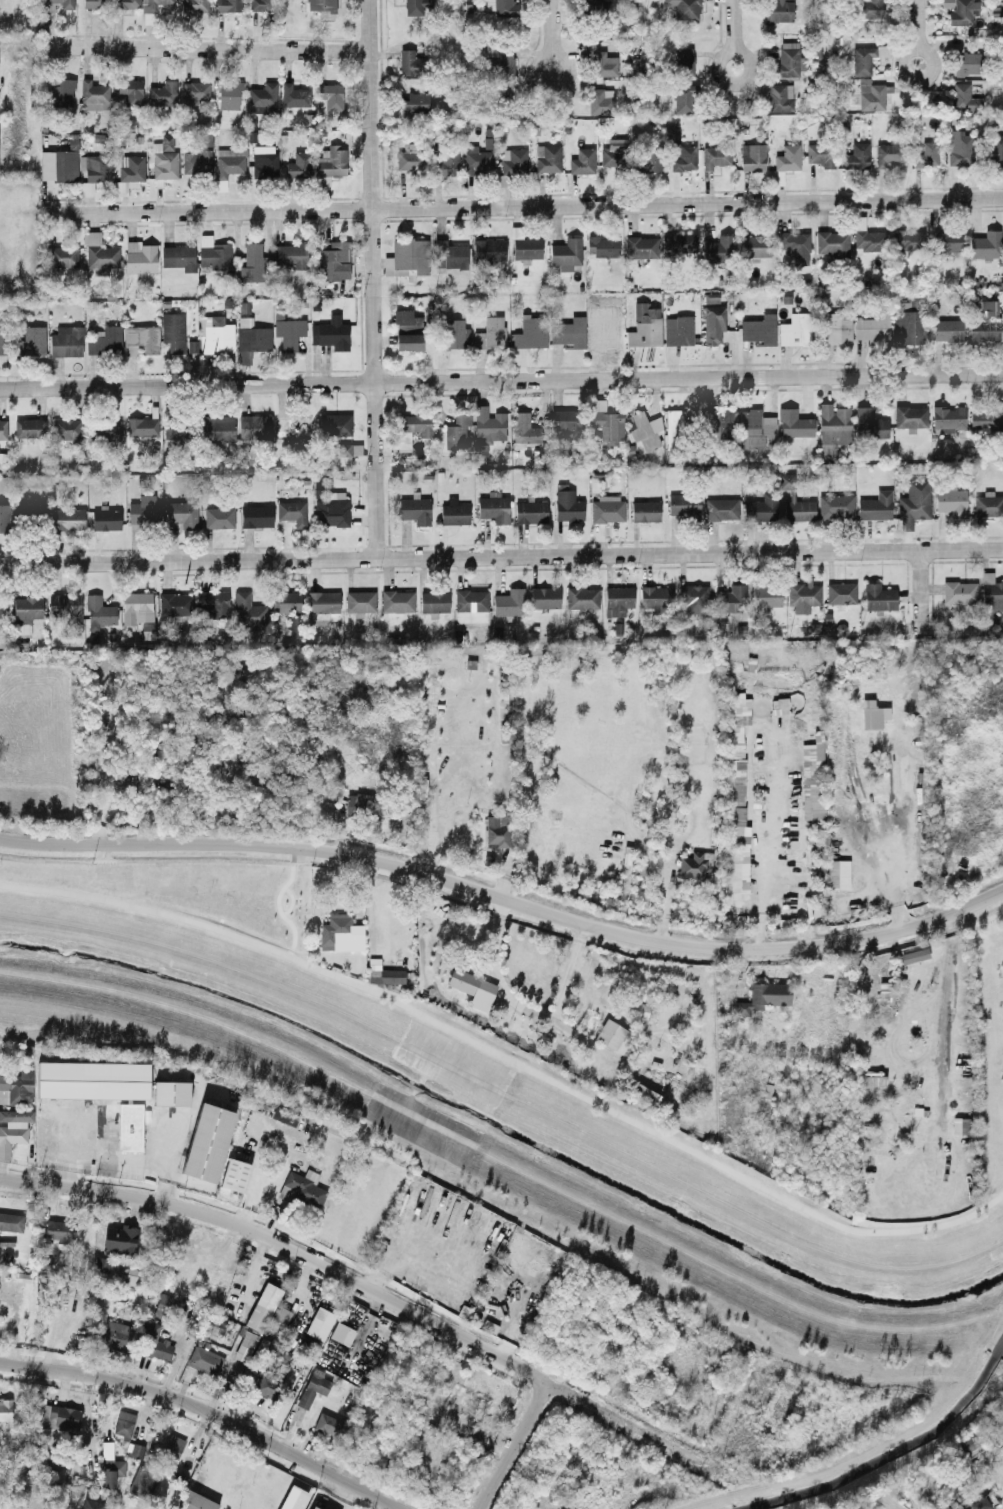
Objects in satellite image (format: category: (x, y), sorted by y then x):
building: (95, 3)
building: (130, 3)
building: (155, 3)
building: (56, 5)
building: (195, 5)
building: (229, 5)
building: (261, 5)
building: (322, 5)
building: (416, 6)
building: (591, 6)
building: (501, 7)
building: (685, 8)
building: (871, 8)
building: (779, 10)
building: (961, 11)
road: (914, 24)
road: (732, 26)
road: (547, 27)
road: (209, 47)
road: (722, 55)
road: (904, 55)
building: (866, 58)
building: (789, 59)
building: (684, 60)
building: (509, 61)
building: (409, 62)
building: (968, 63)
road: (535, 64)
building: (604, 64)
building: (62, 92)
building: (130, 92)
building: (196, 92)
building: (163, 93)
building: (94, 95)
building: (230, 95)
building: (331, 95)
building: (295, 96)
building: (684, 96)
building: (871, 96)
building: (780, 97)
building: (965, 97)
building: (263, 98)
building: (601, 101)
building: (415, 104)
building: (996, 149)
building: (960, 150)
building: (888, 153)
building: (821, 154)
building: (857, 155)
building: (926, 155)
building: (410, 156)
building: (611, 156)
building: (716, 156)
building: (752, 157)
building: (788, 157)
building: (685, 158)
building: (478, 159)
building: (549, 159)
building: (164, 160)
building: (197, 161)
building: (230, 161)
building: (264, 161)
building: (583, 161)
building: (650, 161)
building: (449, 162)
building: (512, 162)
building: (331, 163)
building: (59, 165)
building: (298, 165)
building: (96, 167)
building: (129, 174)
road: (525, 206)
building: (908, 239)
building: (870, 240)
building: (947, 240)
building: (679, 242)
building: (833, 243)
building: (758, 245)
building: (986, 245)
building: (602, 246)
building: (795, 246)
building: (641, 247)
building: (719, 249)
building: (99, 252)
building: (488, 252)
building: (566, 253)
building: (449, 254)
building: (290, 255)
building: (64, 256)
building: (140, 256)
building: (179, 256)
building: (215, 256)
building: (407, 258)
building: (335, 261)
building: (252, 262)
road: (372, 278)
building: (711, 297)
building: (407, 322)
building: (985, 322)
building: (713, 324)
building: (906, 325)
building: (645, 326)
building: (836, 327)
building: (873, 328)
building: (759, 329)
building: (795, 329)
building: (948, 329)
building: (678, 330)
building: (173, 332)
building: (289, 332)
building: (569, 332)
building: (217, 333)
building: (331, 333)
building: (490, 333)
building: (531, 333)
building: (454, 334)
building: (141, 338)
building: (251, 338)
building: (3, 340)
building: (105, 340)
building: (31, 341)
building: (66, 341)
building: (409, 341)
building: (192, 346)
road: (501, 380)
building: (910, 416)
building: (986, 416)
building: (949, 418)
building: (565, 420)
building: (605, 421)
building: (718, 421)
building: (336, 423)
building: (794, 423)
building: (833, 423)
building: (869, 423)
building: (142, 425)
building: (292, 425)
building: (489, 425)
building: (255, 426)
building: (30, 427)
building: (176, 427)
building: (217, 427)
building: (413, 427)
building: (754, 427)
building: (3, 428)
building: (67, 428)
building: (105, 429)
building: (523, 429)
building: (644, 429)
building: (457, 430)
building: (826, 447)
building: (342, 449)
building: (952, 501)
building: (794, 502)
building: (567, 503)
building: (914, 503)
building: (988, 504)
building: (683, 505)
building: (875, 505)
building: (835, 506)
building: (494, 508)
building: (607, 508)
building: (721, 508)
building: (760, 508)
building: (144, 509)
building: (331, 509)
building: (414, 509)
building: (645, 510)
building: (292, 511)
building: (531, 511)
building: (454, 512)
building: (182, 513)
building: (256, 516)
building: (4, 517)
building: (218, 517)
building: (69, 518)
building: (106, 518)
road: (985, 549)
road: (483, 555)
building: (992, 591)
building: (840, 592)
building: (959, 592)
building: (766, 594)
building: (802, 595)
building: (545, 596)
building: (878, 596)
building: (582, 597)
building: (654, 597)
building: (695, 598)
building: (471, 599)
building: (617, 599)
building: (732, 599)
building: (360, 600)
building: (397, 601)
building: (323, 602)
building: (175, 603)
building: (213, 603)
building: (509, 603)
building: (2, 606)
building: (65, 606)
building: (27, 609)
building: (290, 609)
building: (138, 610)
building: (247, 611)
building: (98, 615)
building: (779, 706)
building: (872, 714)
road: (432, 777)
building: (812, 778)
building: (735, 792)
building: (358, 803)
building: (496, 830)
building: (694, 864)
building: (837, 873)
road: (506, 897)
road: (291, 900)
road: (279, 909)
road: (504, 916)
building: (341, 933)
building: (383, 973)
building: (472, 987)
building: (763, 996)
road: (947, 1017)
building: (613, 1035)
road: (509, 1059)
building: (92, 1079)
building: (16, 1087)
building: (171, 1092)
building: (284, 1115)
building: (964, 1125)
building: (129, 1127)
building: (13, 1129)
building: (207, 1142)
building: (235, 1175)
building: (303, 1188)
building: (8, 1203)
building: (11, 1221)
building: (59, 1229)
building: (120, 1239)
building: (104, 1265)
building: (132, 1277)
road: (383, 1296)
building: (162, 1305)
building: (263, 1306)
building: (281, 1315)
building: (320, 1323)
building: (342, 1333)
building: (116, 1334)
building: (156, 1345)
building: (205, 1359)
building: (270, 1380)
building: (313, 1387)
building: (5, 1409)
road: (208, 1410)
building: (59, 1416)
building: (124, 1423)
building: (327, 1424)
building: (967, 1442)
building: (172, 1445)
road: (517, 1447)
building: (136, 1450)
building: (140, 1481)
building: (292, 1497)
building: (196, 1501)
building: (92, 1504)
building: (978, 1504)
building: (312, 1507)

